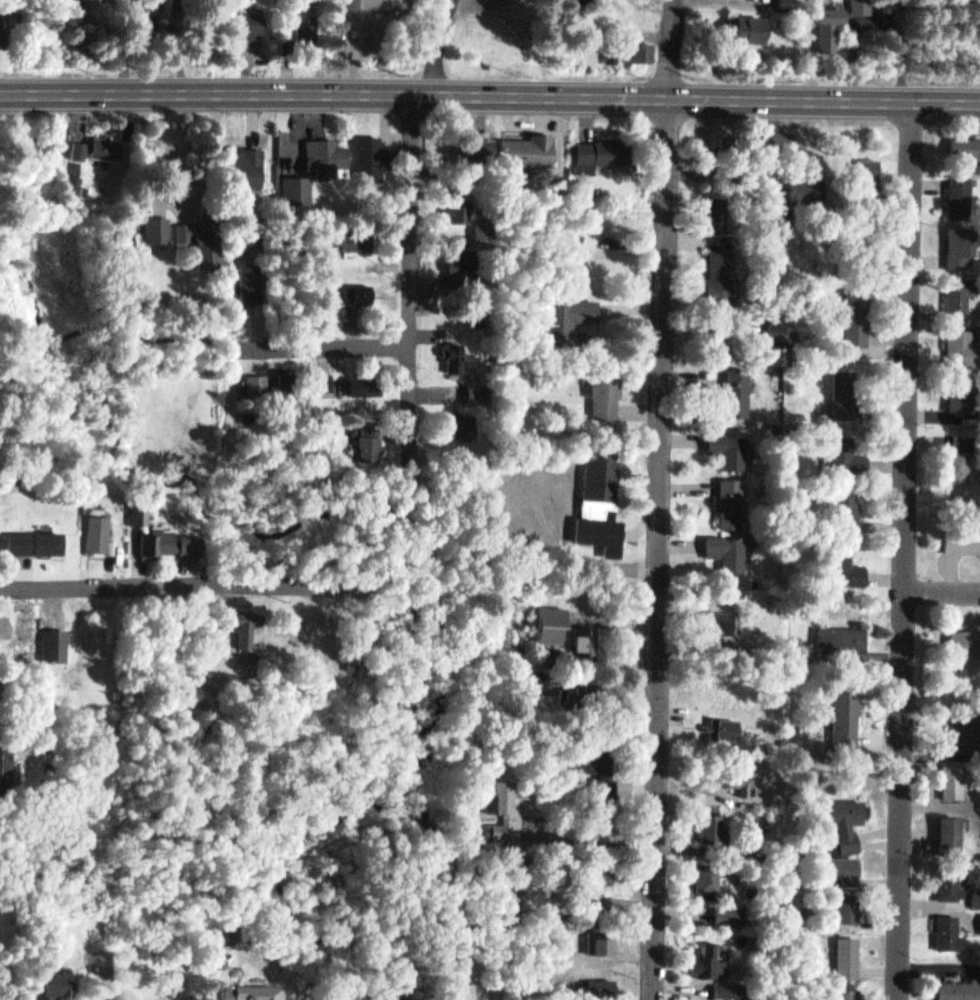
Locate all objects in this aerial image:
building: (380, 2)
building: (788, 4)
building: (863, 7)
building: (146, 9)
building: (246, 19)
building: (1, 23)
building: (308, 27)
building: (751, 28)
building: (832, 29)
park: (957, 44)
building: (645, 51)
building: (614, 52)
road: (207, 92)
road: (697, 98)
building: (103, 140)
building: (477, 141)
building: (75, 143)
building: (532, 146)
building: (314, 147)
building: (619, 148)
building: (974, 151)
building: (375, 153)
building: (709, 156)
building: (246, 161)
building: (871, 172)
building: (72, 178)
building: (297, 183)
building: (808, 184)
building: (963, 195)
building: (460, 206)
building: (720, 210)
building: (154, 224)
building: (484, 226)
building: (357, 235)
building: (198, 237)
building: (964, 244)
building: (460, 255)
building: (247, 275)
building: (721, 275)
road: (412, 286)
building: (363, 287)
building: (967, 288)
building: (485, 308)
building: (573, 312)
building: (858, 313)
building: (483, 320)
building: (784, 329)
road: (292, 346)
building: (964, 346)
building: (457, 348)
building: (324, 375)
building: (359, 377)
building: (268, 378)
building: (481, 386)
building: (610, 390)
building: (849, 390)
building: (741, 391)
building: (964, 391)
building: (465, 421)
building: (367, 438)
building: (733, 448)
building: (852, 453)
building: (964, 457)
road: (668, 499)
building: (602, 500)
building: (736, 501)
building: (851, 505)
building: (140, 513)
building: (101, 532)
building: (963, 538)
building: (44, 539)
building: (169, 542)
building: (731, 550)
road: (912, 551)
building: (847, 566)
road: (172, 578)
road: (946, 595)
building: (724, 620)
building: (553, 623)
building: (247, 625)
building: (848, 636)
building: (966, 638)
building: (587, 641)
building: (58, 643)
building: (846, 721)
building: (726, 727)
building: (969, 730)
building: (594, 758)
building: (6, 769)
building: (743, 777)
building: (957, 778)
building: (499, 811)
building: (850, 820)
building: (716, 827)
building: (951, 831)
building: (846, 867)
building: (605, 875)
building: (710, 878)
building: (952, 882)
building: (978, 894)
building: (850, 905)
building: (604, 910)
building: (730, 914)
building: (951, 931)
building: (603, 940)
building: (851, 955)
building: (712, 959)
building: (56, 984)
building: (732, 988)
building: (959, 989)
building: (261, 990)
building: (850, 993)

